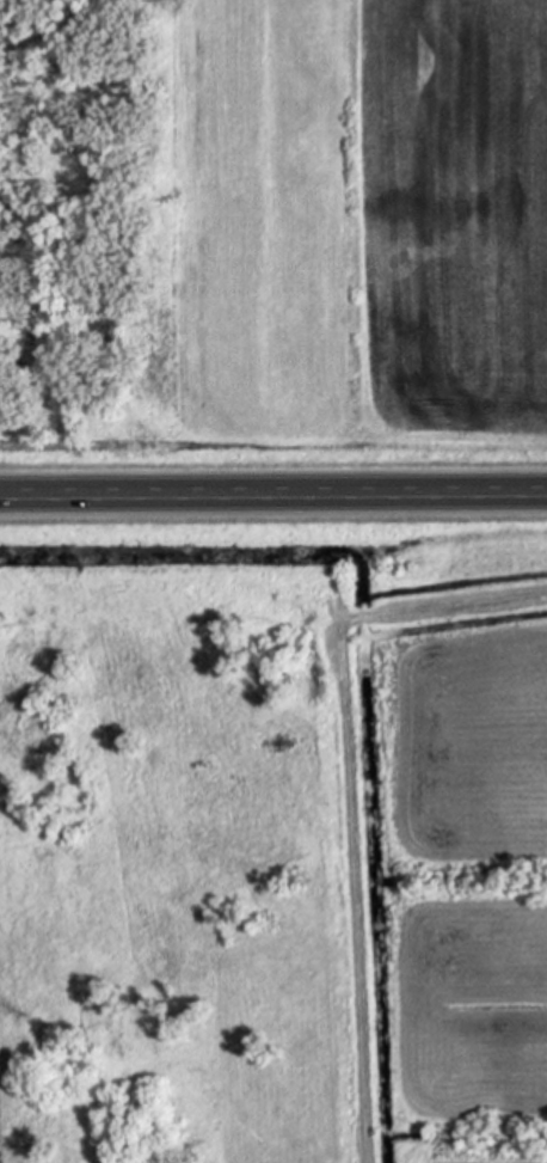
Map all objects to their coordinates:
road: (273, 501)
building: (361, 617)

